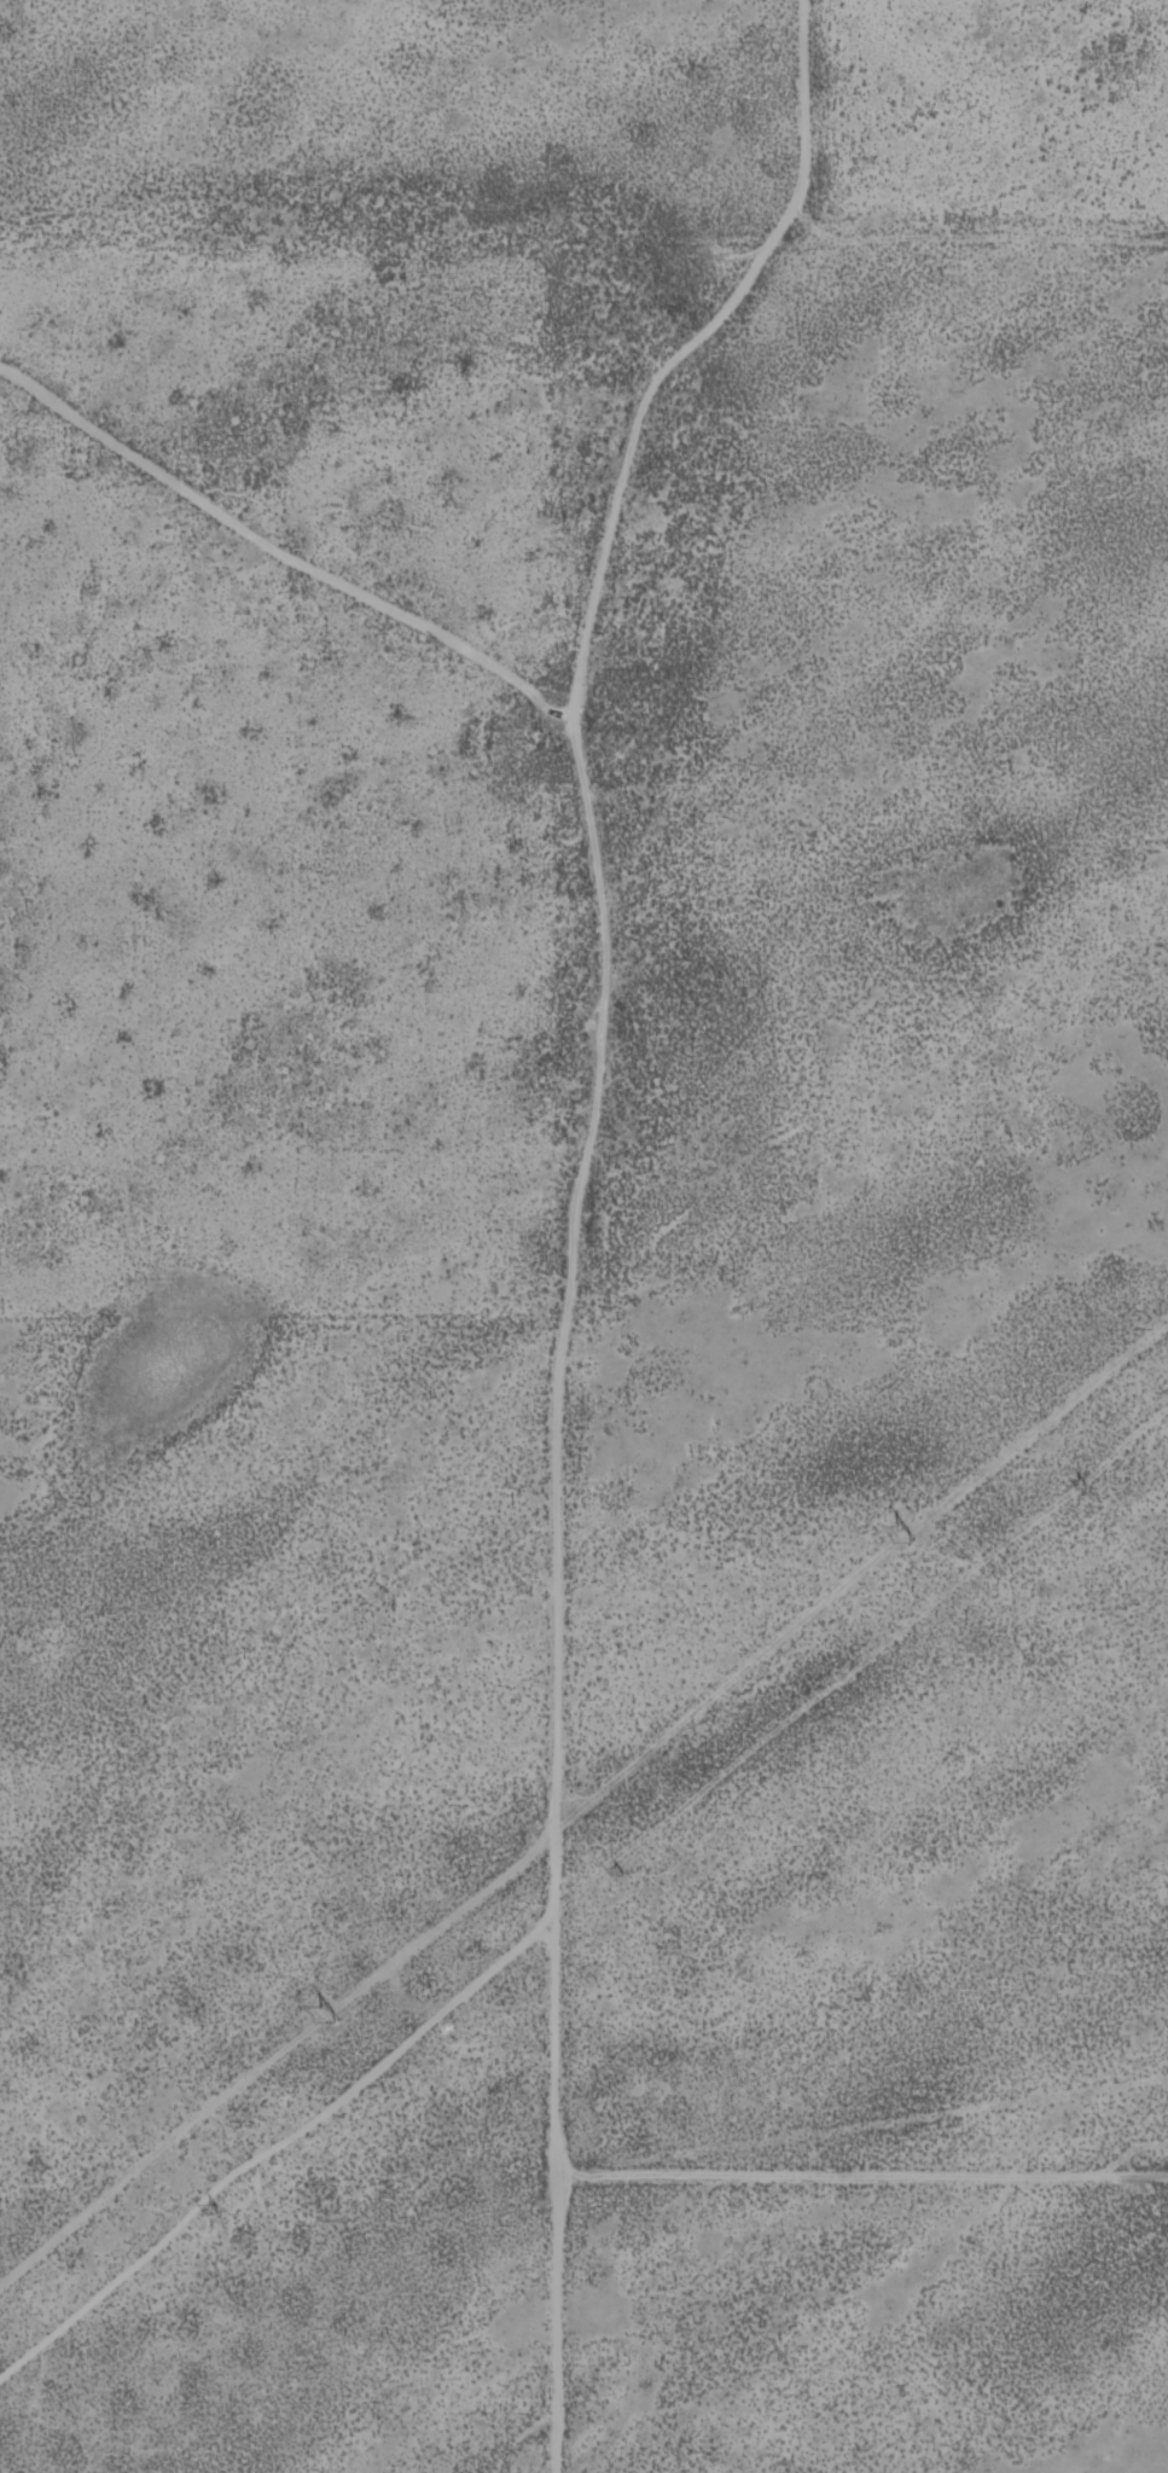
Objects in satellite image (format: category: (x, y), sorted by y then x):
road: (656, 1224)
power tower: (1094, 1484)
power tower: (907, 1536)
power tower: (635, 1871)
power tower: (322, 2014)
power tower: (213, 2208)

